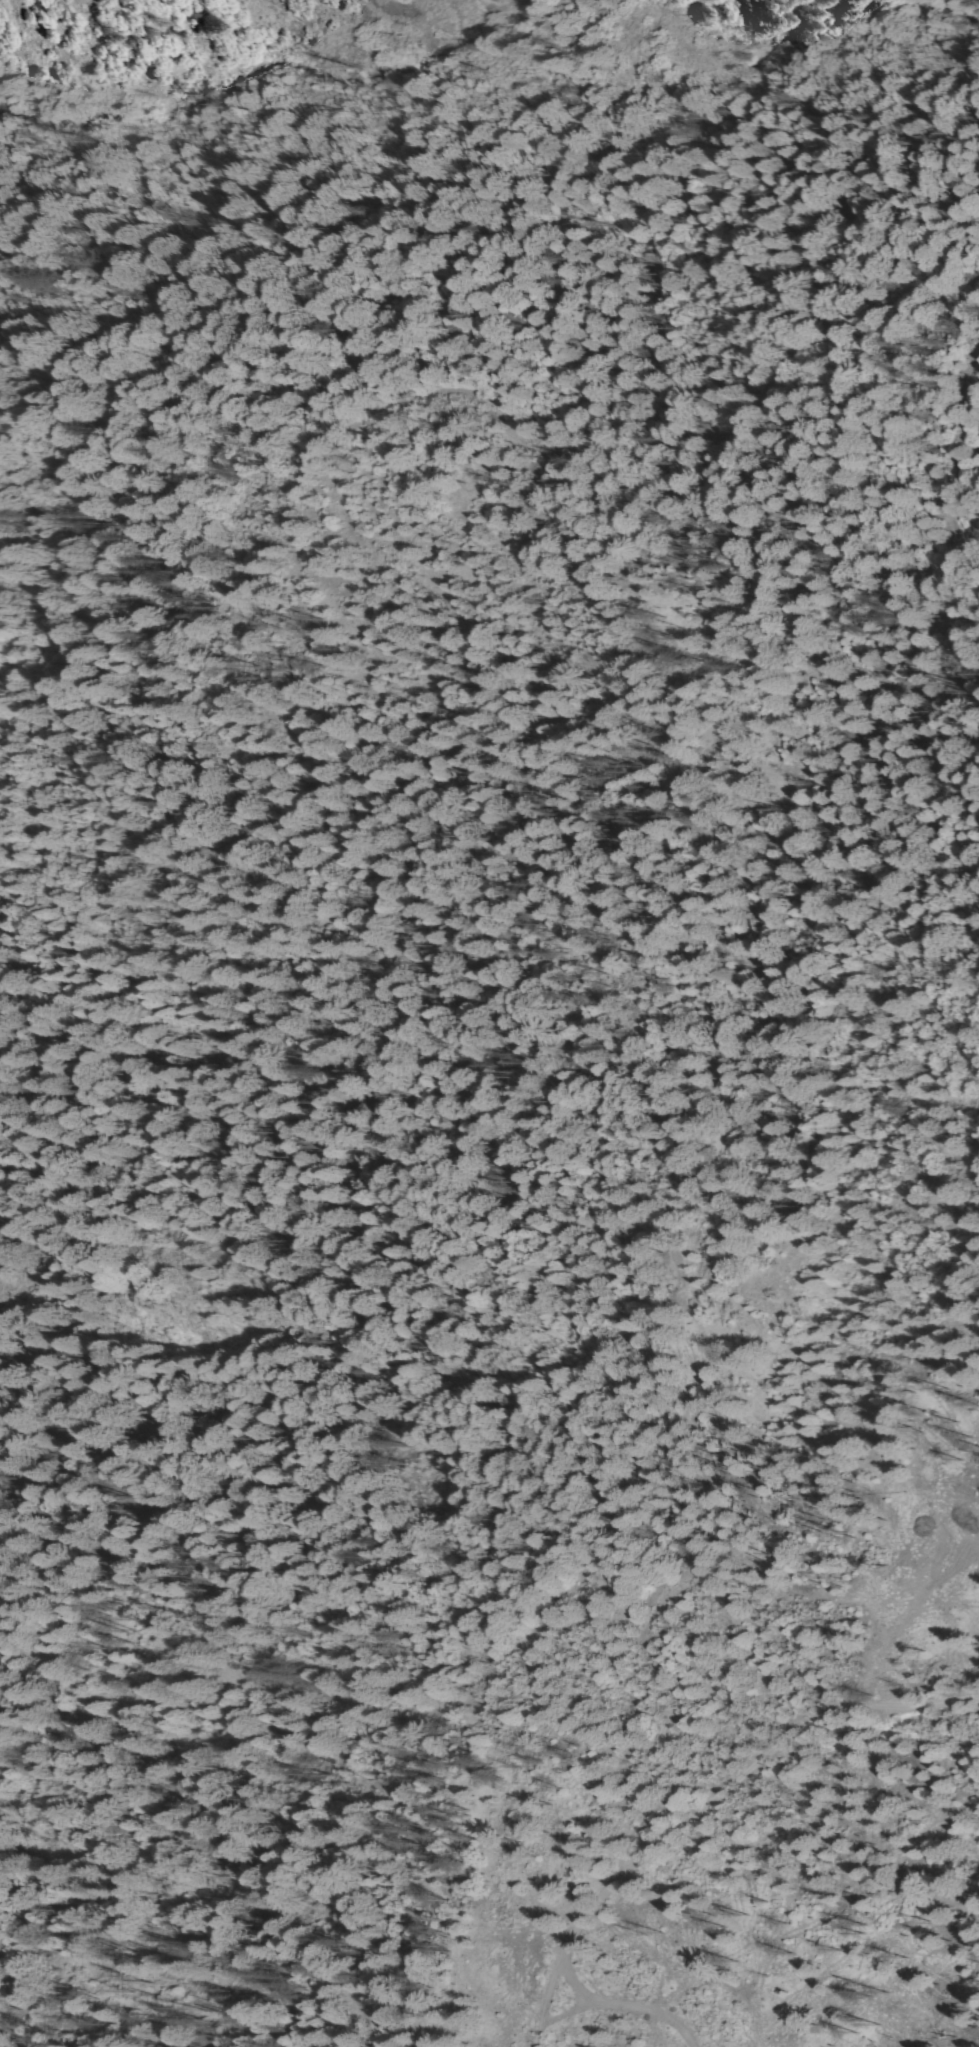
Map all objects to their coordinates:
road: (711, 1807)

